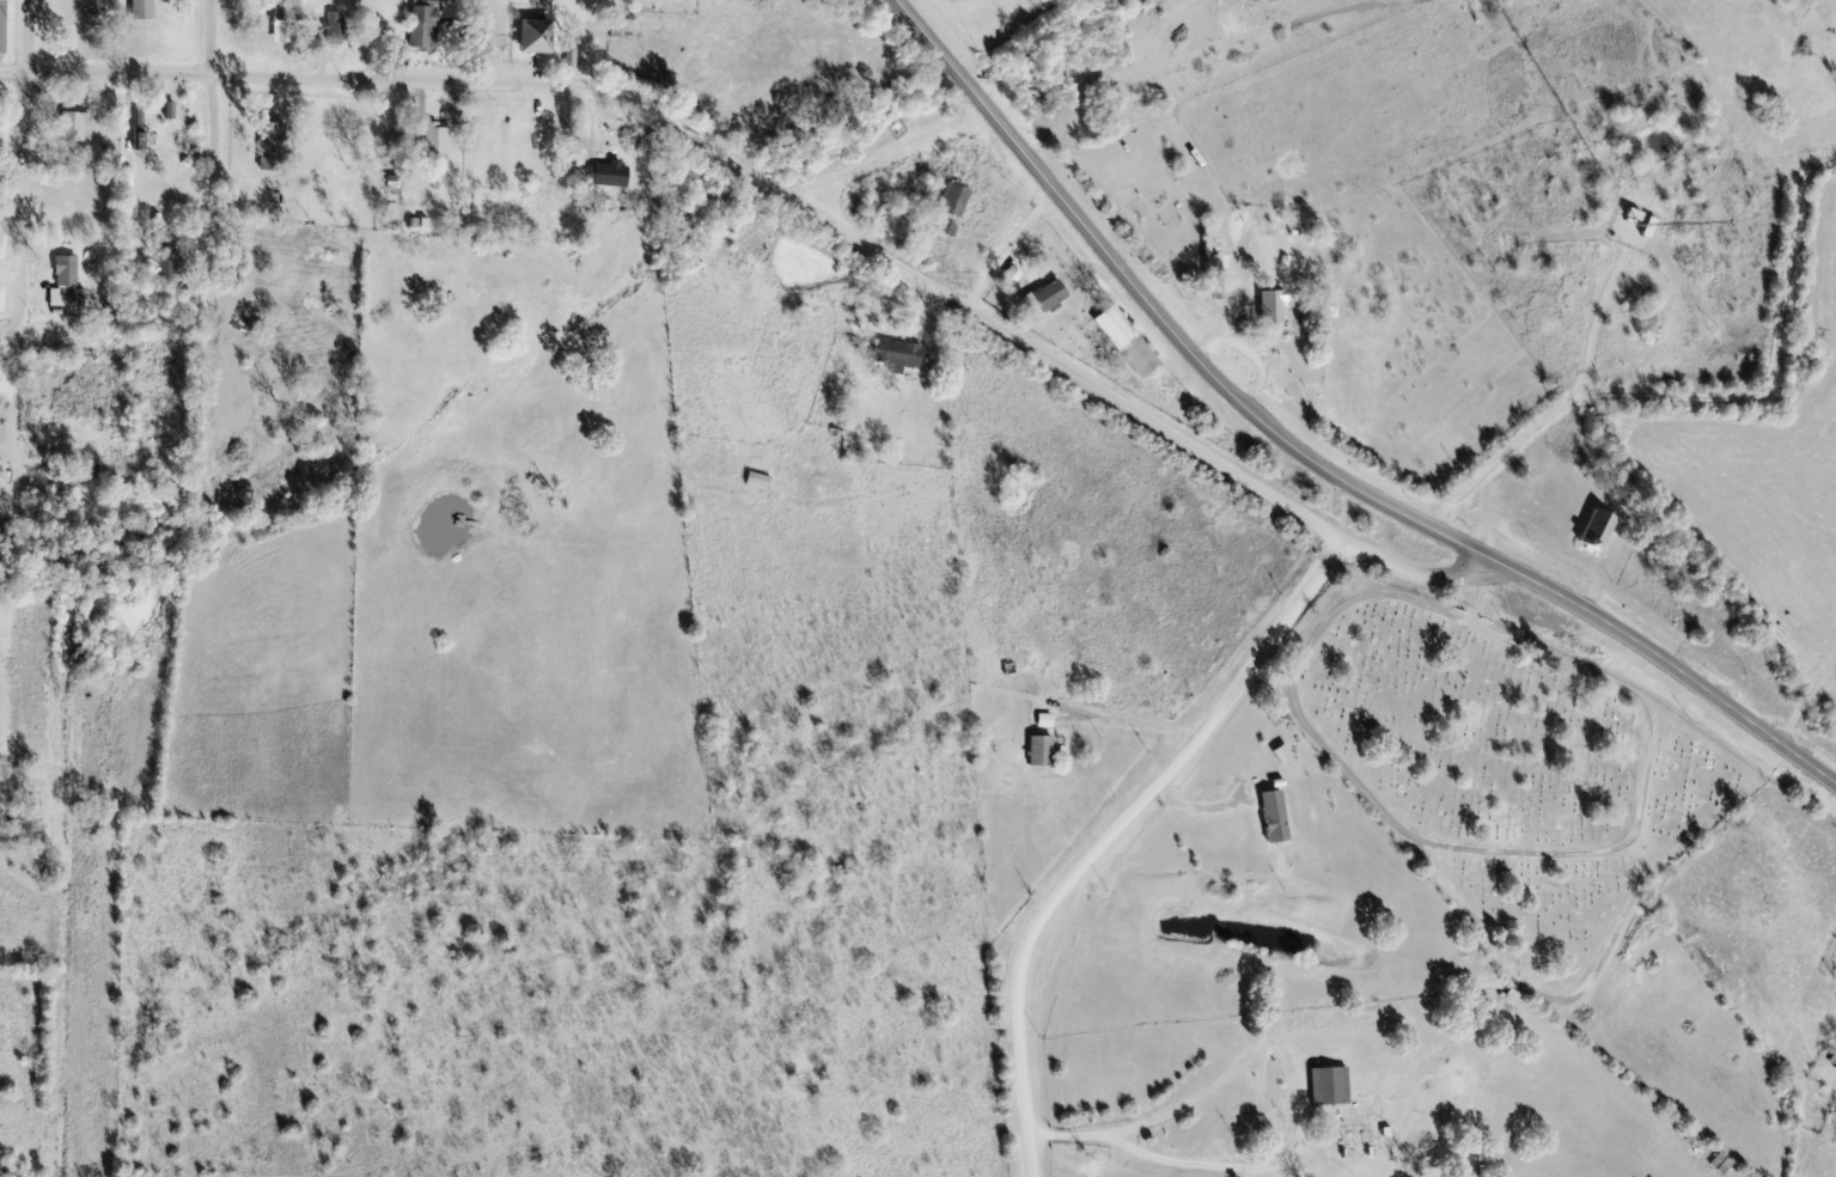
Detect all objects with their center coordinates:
building: (148, 11)
building: (5, 28)
building: (422, 28)
building: (335, 30)
building: (533, 36)
road: (212, 111)
building: (79, 128)
building: (263, 133)
building: (433, 138)
building: (604, 173)
road: (785, 195)
building: (952, 201)
road: (22, 211)
building: (1635, 227)
building: (0, 240)
road: (1011, 249)
building: (71, 272)
building: (1049, 297)
building: (62, 298)
road: (243, 298)
building: (1270, 310)
road: (8, 334)
building: (895, 354)
road: (1559, 405)
road: (1309, 459)
building: (756, 481)
building: (1594, 531)
railway: (74, 588)
road: (1482, 590)
road: (1294, 676)
building: (1041, 751)
road: (1643, 783)
building: (1273, 817)
park: (1547, 835)
road: (1116, 836)
road: (1545, 1001)
building: (1832, 1061)
building: (1326, 1086)
building: (1365, 1144)

